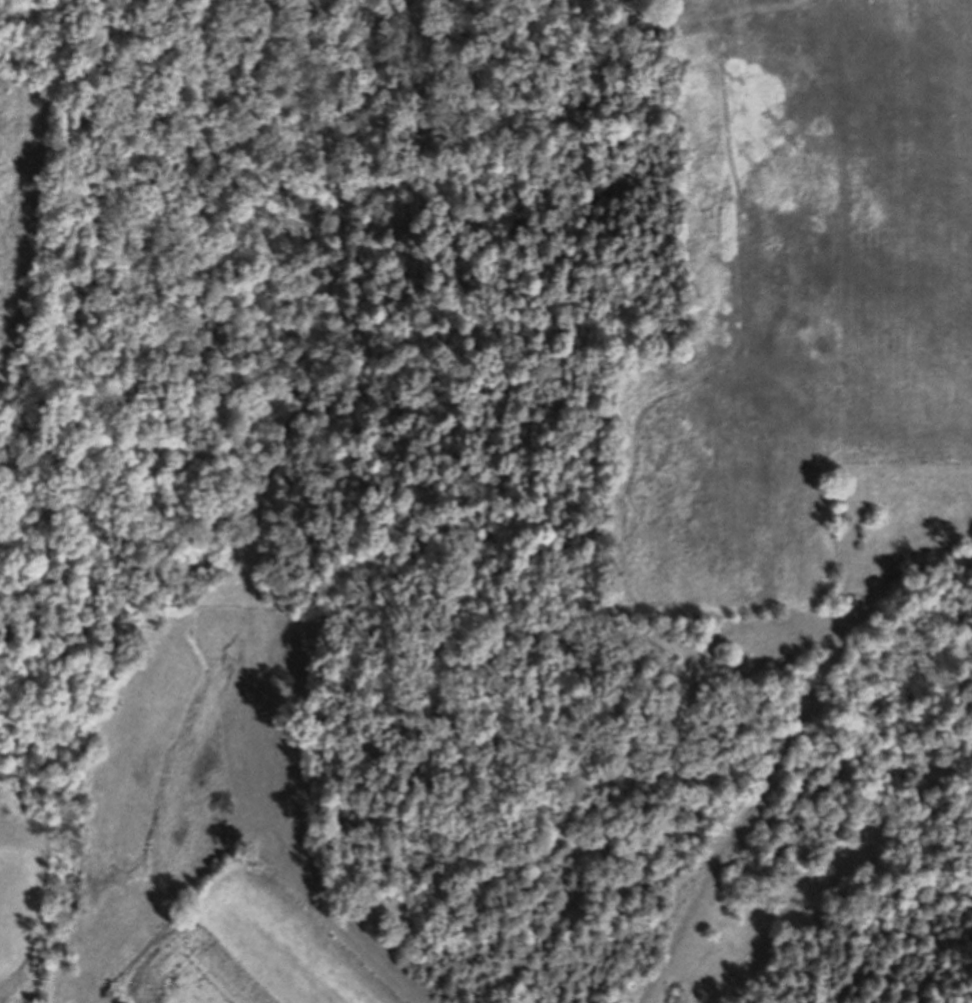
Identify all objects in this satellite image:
road: (262, 644)

